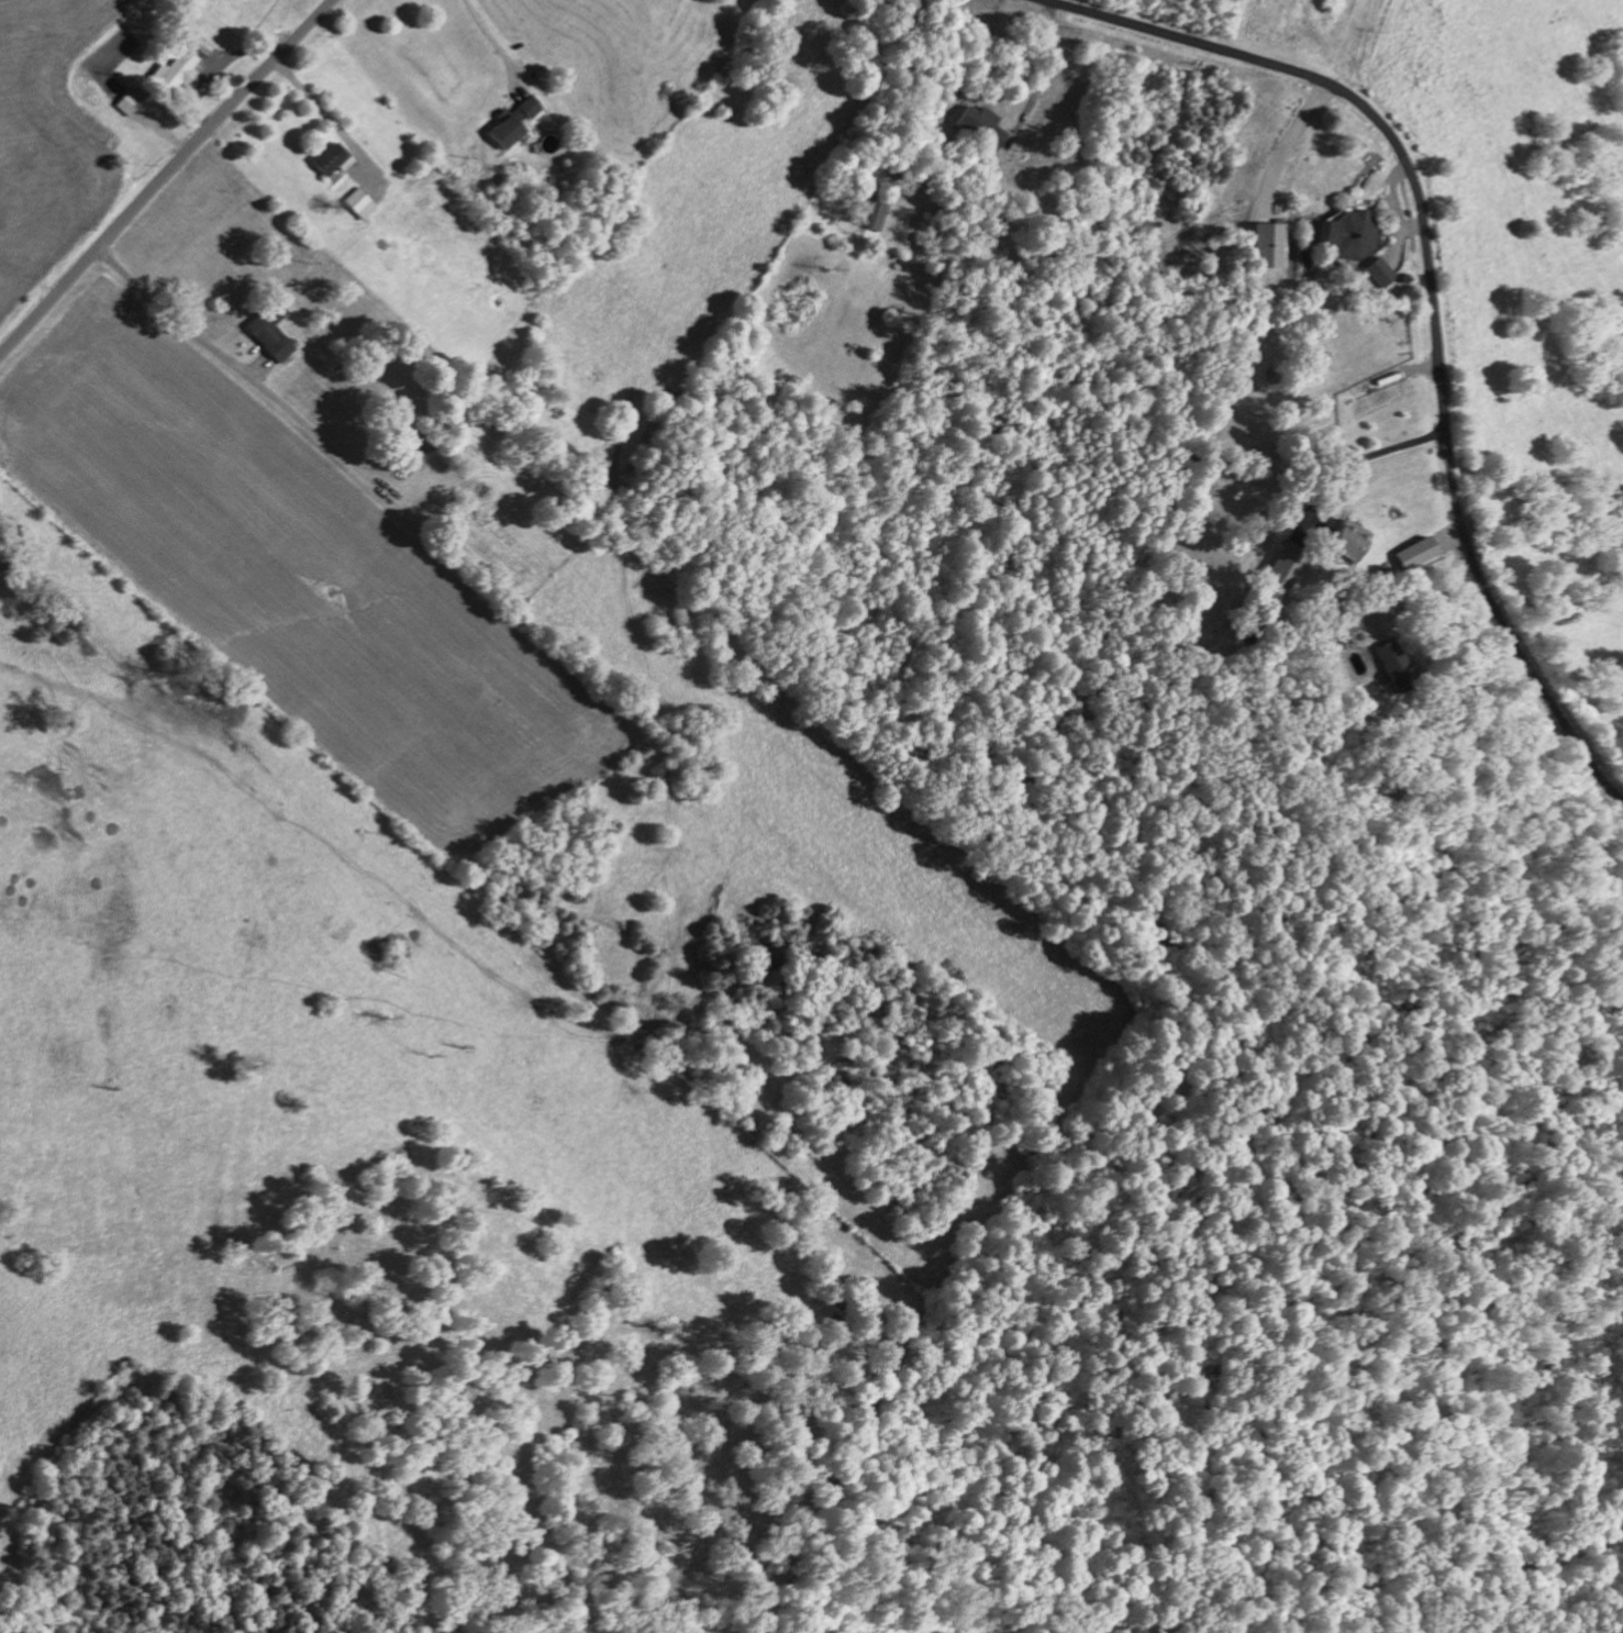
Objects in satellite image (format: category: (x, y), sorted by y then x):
road: (490, 35)
building: (181, 64)
road: (314, 100)
building: (127, 103)
building: (530, 107)
building: (980, 124)
building: (504, 131)
building: (334, 162)
road: (165, 178)
building: (359, 203)
road: (922, 205)
building: (874, 214)
building: (1349, 232)
building: (1269, 244)
building: (1380, 270)
road: (1433, 298)
road: (170, 313)
building: (270, 331)
road: (1360, 458)
building: (1414, 553)
building: (1347, 626)

